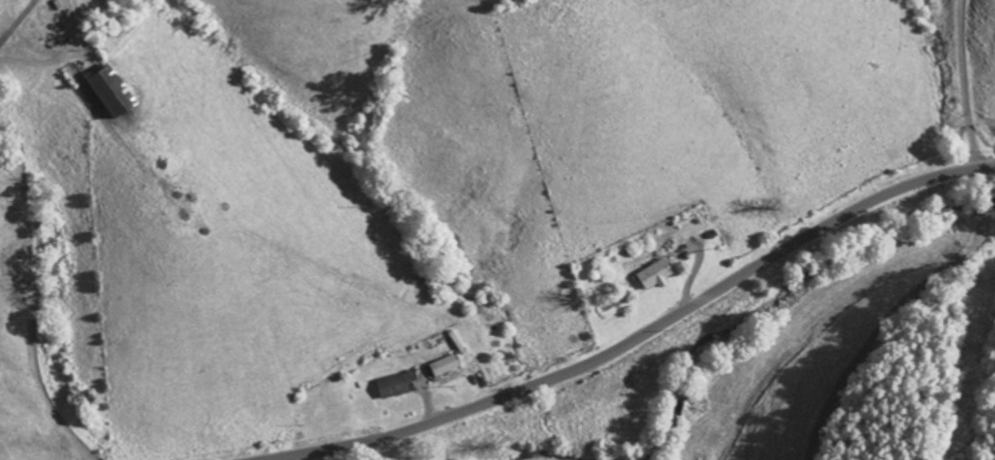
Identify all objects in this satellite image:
building: (109, 89)
road: (959, 250)
building: (654, 273)
road: (641, 335)
building: (393, 386)

